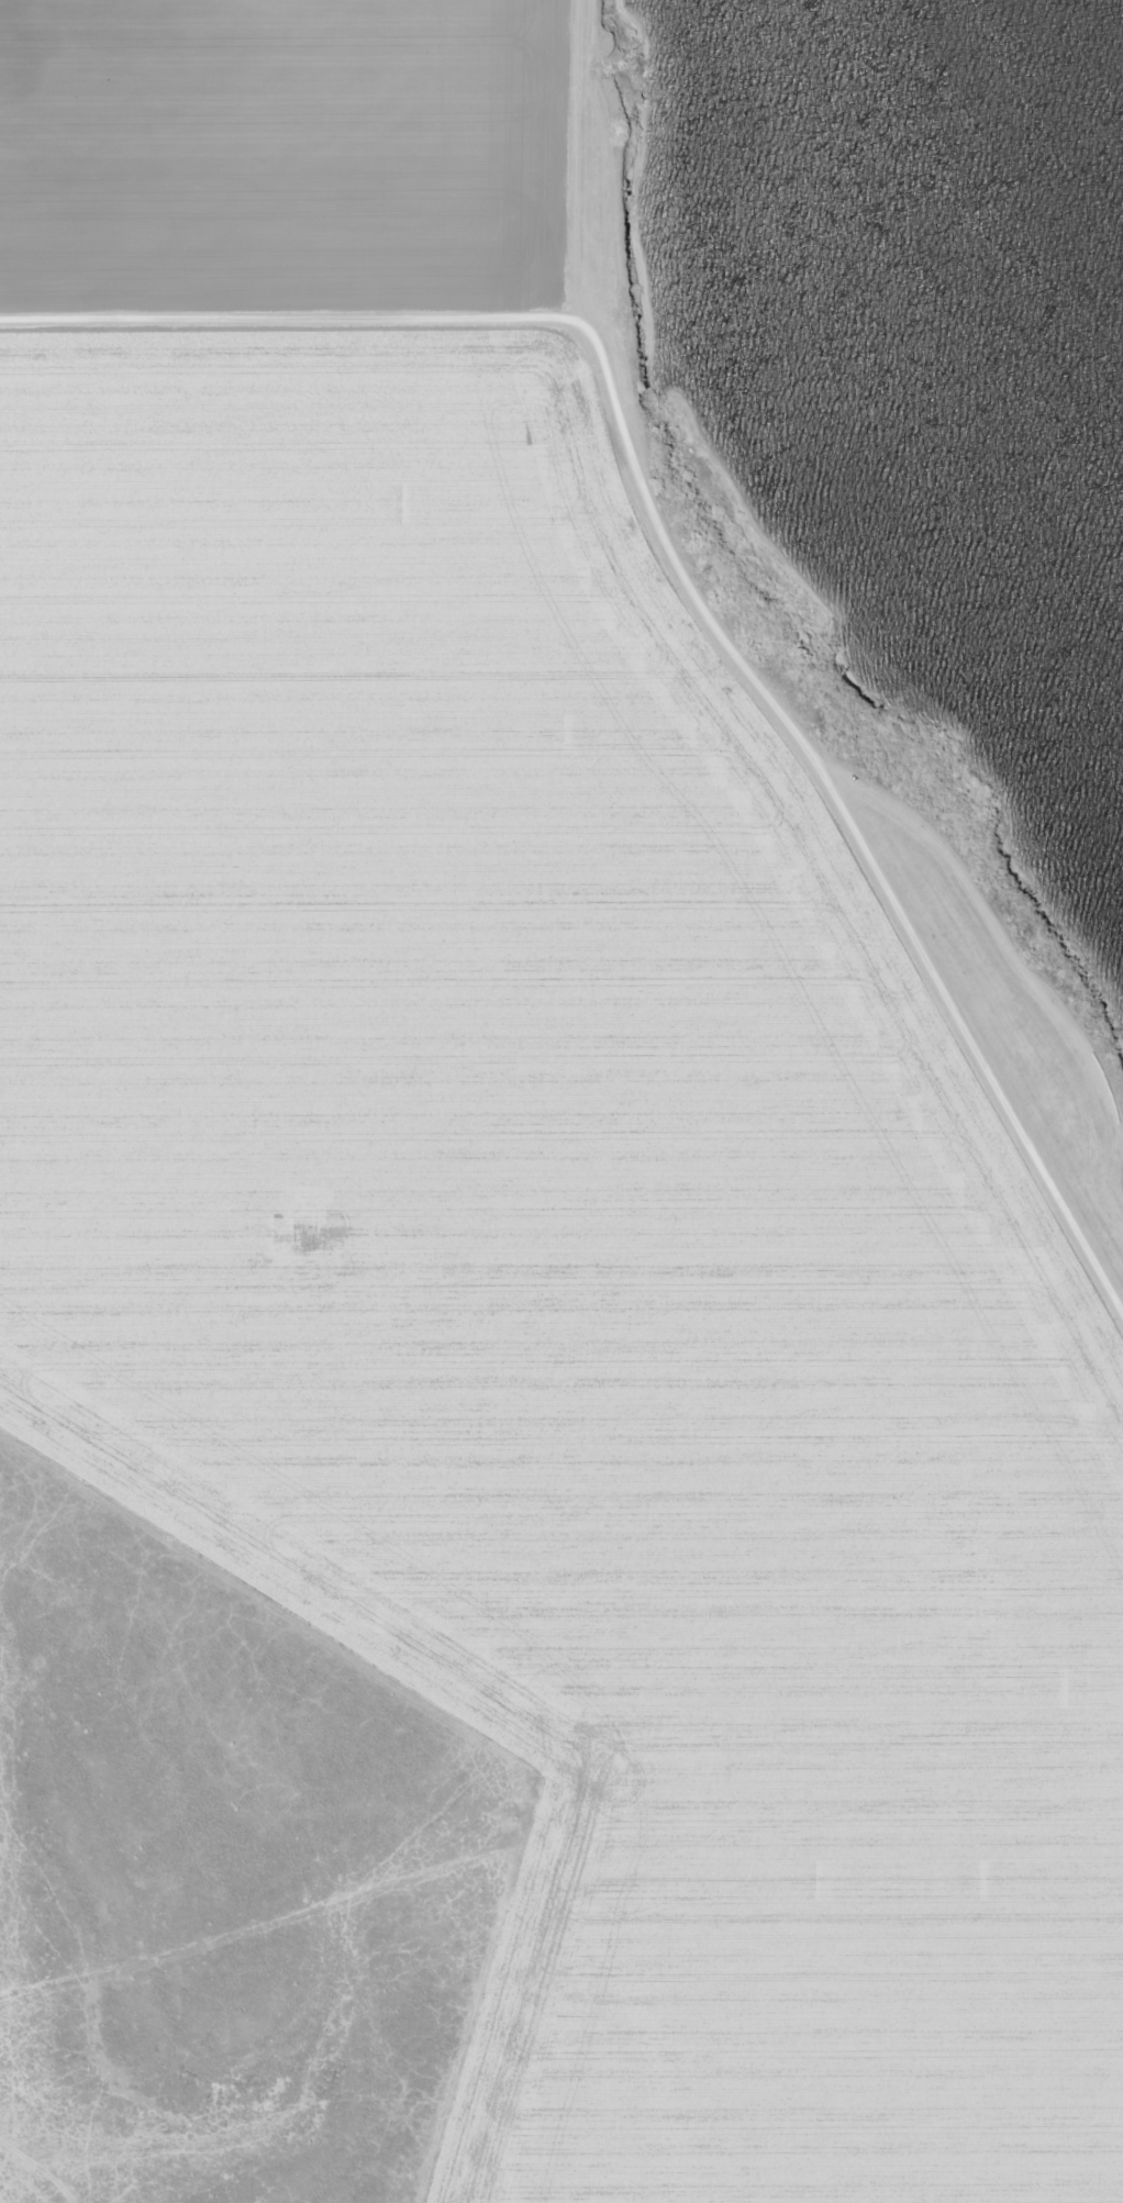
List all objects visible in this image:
road: (685, 578)

